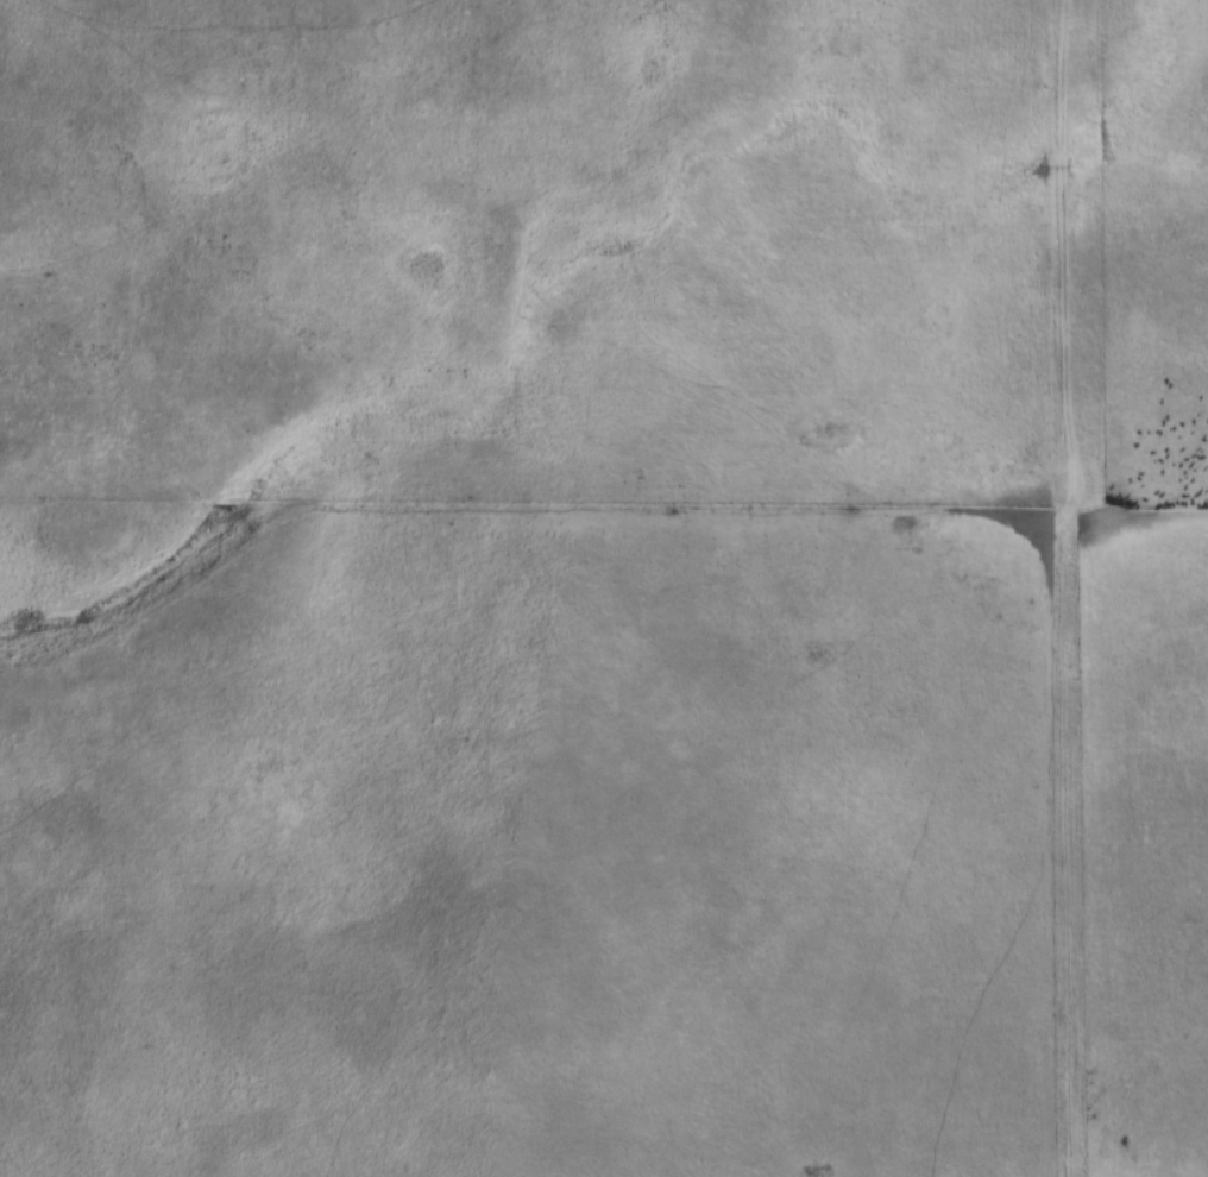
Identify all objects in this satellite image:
road: (1074, 588)

